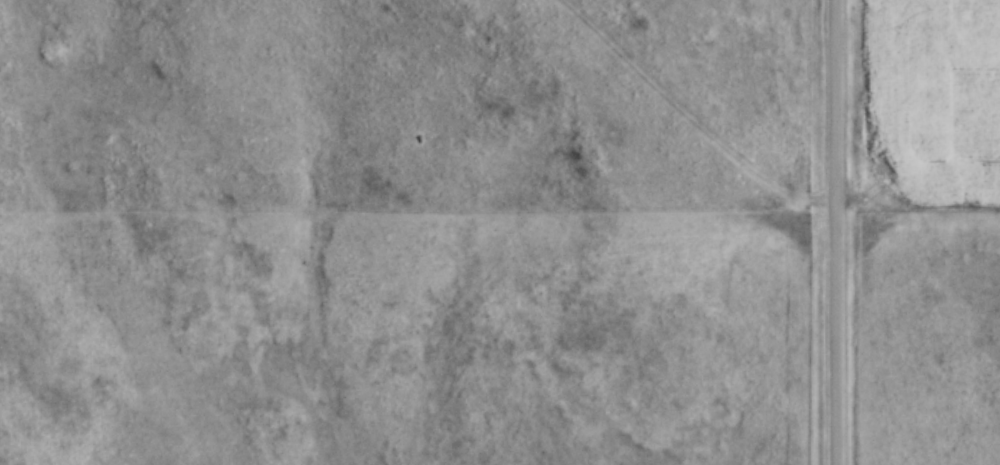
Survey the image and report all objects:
road: (832, 232)

